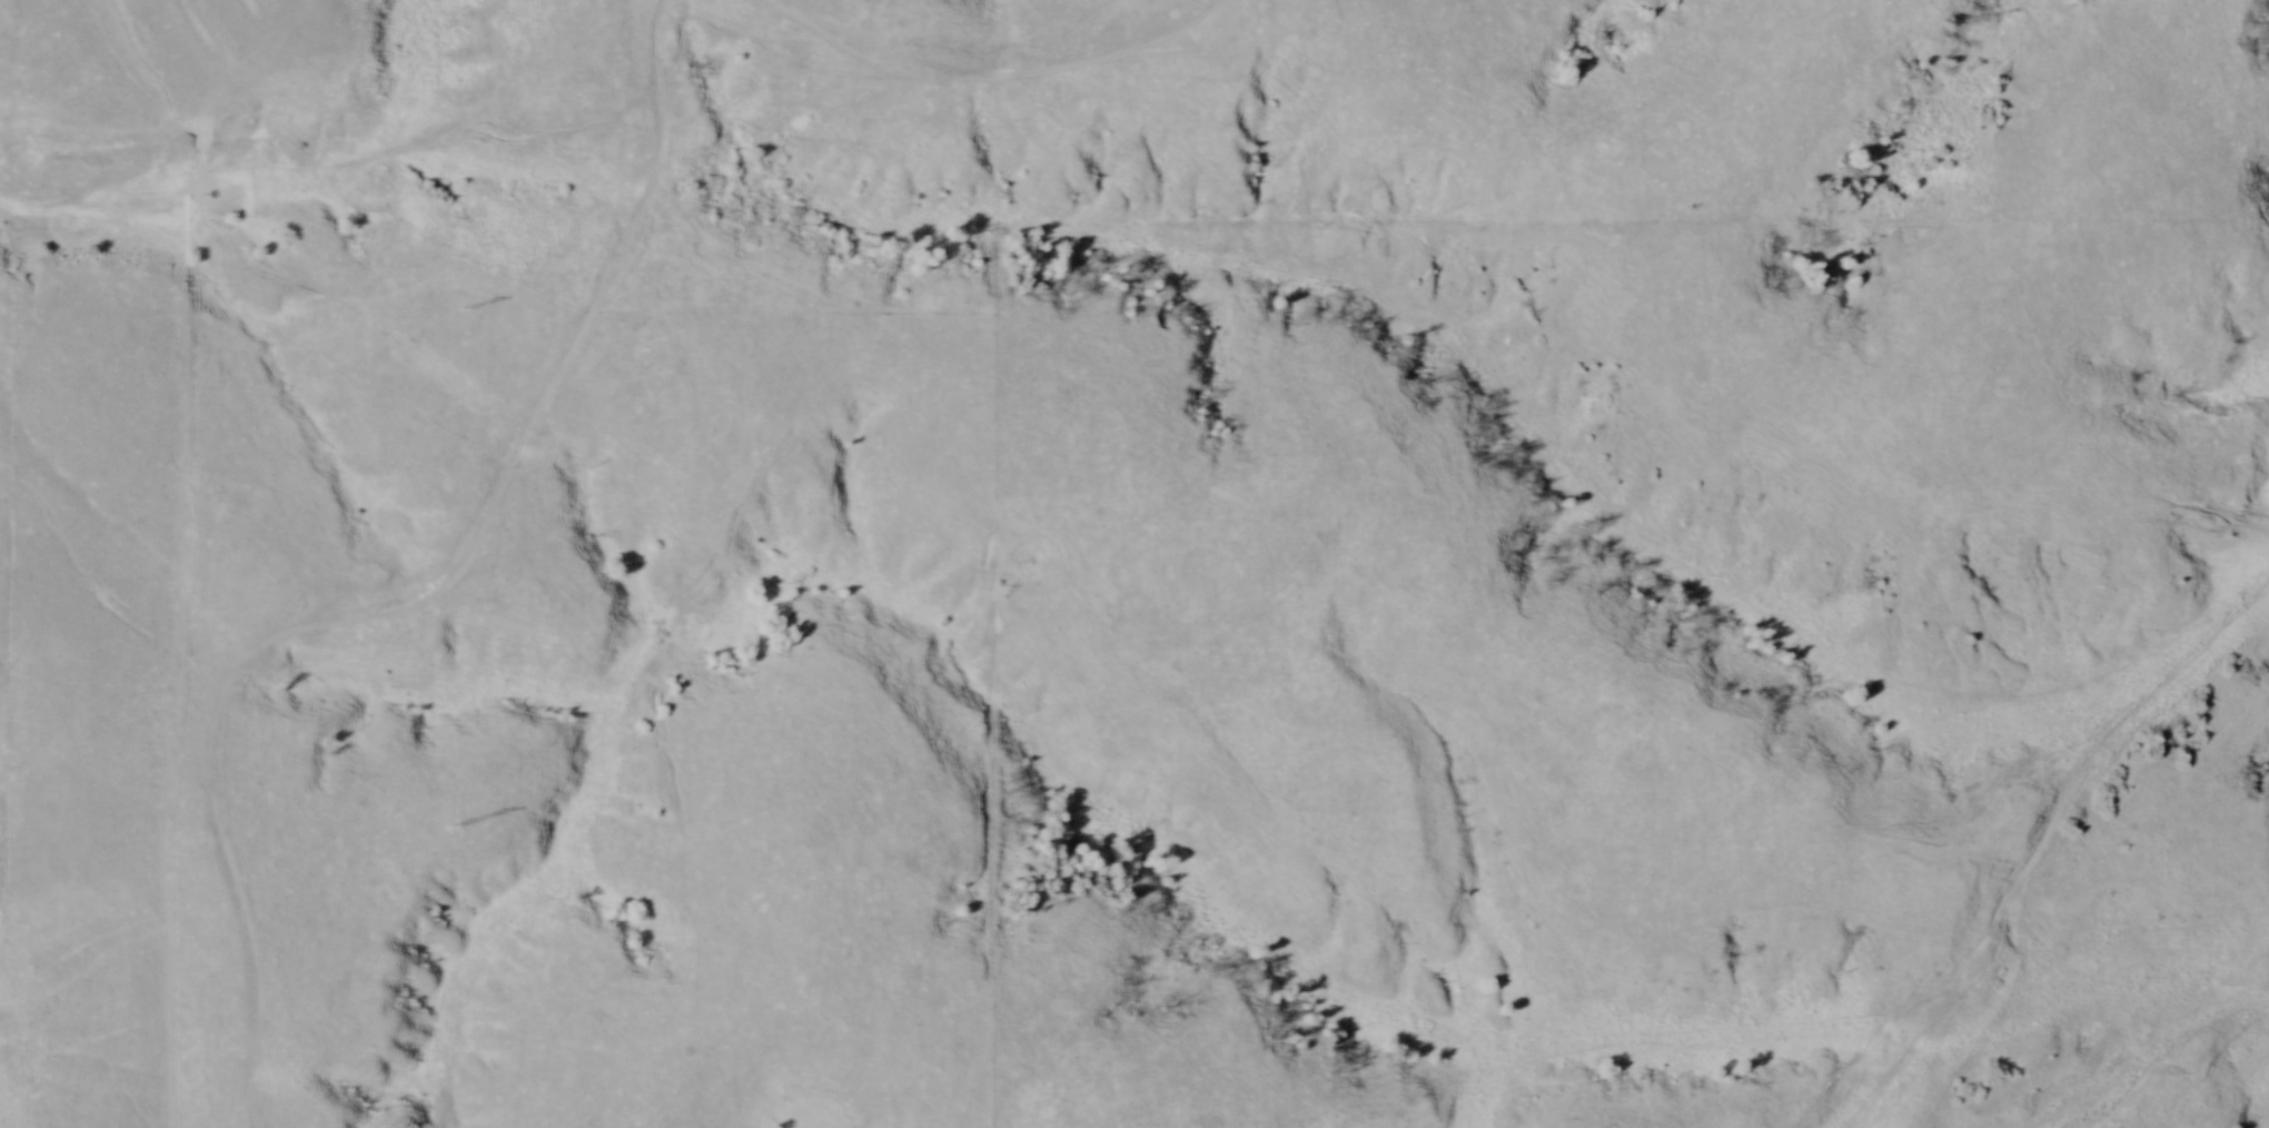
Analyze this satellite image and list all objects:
power tower: (465, 313)
power tower: (449, 829)

